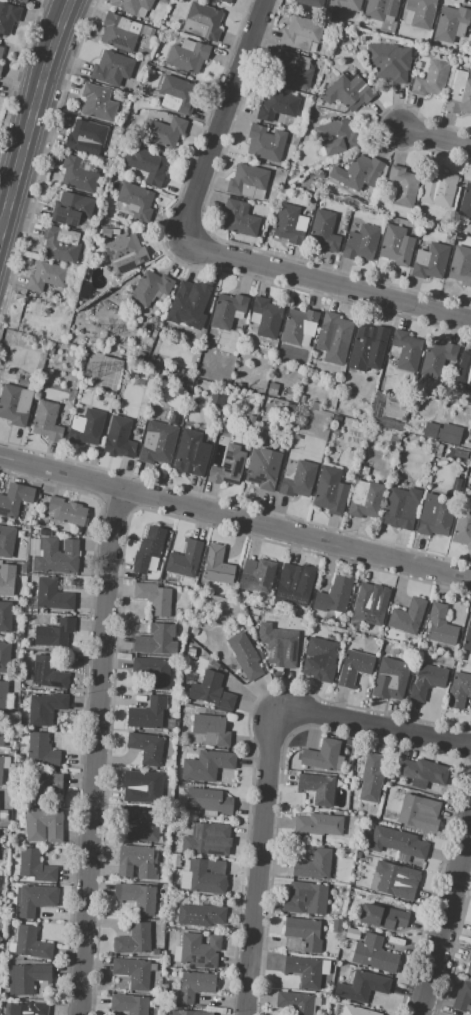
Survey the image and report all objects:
building: (25, 1)
building: (225, 1)
building: (311, 3)
building: (345, 4)
building: (131, 5)
building: (381, 8)
building: (421, 12)
building: (8, 17)
building: (202, 21)
building: (451, 23)
building: (118, 32)
building: (301, 32)
building: (1, 50)
building: (187, 56)
building: (389, 61)
building: (0, 66)
building: (112, 68)
building: (294, 70)
building: (431, 79)
building: (348, 93)
building: (459, 93)
building: (177, 94)
building: (98, 102)
building: (277, 105)
road: (32, 116)
road: (223, 117)
building: (165, 131)
building: (85, 134)
building: (336, 136)
road: (435, 137)
building: (265, 143)
building: (146, 165)
building: (358, 173)
building: (77, 175)
building: (246, 181)
building: (403, 186)
building: (438, 187)
building: (136, 200)
building: (465, 202)
building: (71, 208)
building: (240, 218)
building: (290, 225)
building: (323, 230)
building: (106, 233)
building: (361, 243)
building: (61, 245)
building: (396, 245)
building: (125, 253)
building: (429, 262)
building: (461, 265)
building: (47, 276)
road: (327, 282)
building: (151, 288)
building: (186, 305)
building: (228, 310)
building: (267, 317)
building: (299, 326)
building: (338, 332)
power tower: (99, 335)
building: (368, 350)
building: (407, 350)
building: (437, 358)
building: (465, 371)
power tower: (89, 374)
building: (240, 386)
building: (273, 389)
building: (469, 398)
building: (218, 399)
building: (303, 399)
building: (85, 400)
building: (397, 402)
building: (15, 404)
building: (315, 405)
building: (291, 407)
building: (336, 418)
building: (47, 421)
building: (86, 427)
building: (433, 431)
building: (336, 432)
building: (119, 436)
building: (454, 436)
building: (394, 439)
building: (157, 443)
building: (439, 451)
building: (191, 454)
building: (229, 467)
building: (263, 468)
building: (299, 480)
building: (330, 491)
building: (15, 499)
building: (366, 499)
building: (401, 507)
building: (67, 510)
building: (435, 516)
road: (235, 517)
building: (463, 529)
building: (45, 533)
building: (6, 540)
building: (148, 548)
building: (56, 556)
building: (184, 559)
building: (217, 566)
building: (257, 573)
building: (7, 579)
building: (294, 584)
building: (52, 595)
building: (334, 595)
building: (153, 597)
building: (367, 606)
building: (5, 616)
building: (407, 617)
building: (441, 625)
building: (54, 633)
building: (468, 637)
building: (157, 640)
building: (283, 645)
building: (244, 656)
building: (5, 657)
building: (319, 659)
building: (213, 664)
building: (354, 667)
building: (153, 670)
building: (47, 673)
building: (390, 678)
building: (427, 680)
building: (459, 690)
building: (211, 691)
building: (3, 694)
building: (45, 708)
building: (147, 713)
road: (377, 726)
building: (211, 730)
building: (2, 736)
building: (146, 747)
building: (41, 751)
road: (99, 751)
building: (322, 755)
building: (207, 765)
building: (1, 768)
building: (423, 772)
building: (371, 778)
building: (40, 785)
building: (317, 787)
building: (144, 789)
building: (209, 800)
building: (416, 809)
building: (142, 824)
building: (319, 824)
building: (44, 825)
building: (203, 837)
building: (397, 843)
building: (137, 862)
road: (259, 863)
building: (313, 864)
building: (35, 866)
building: (207, 876)
building: (394, 883)
building: (137, 897)
building: (305, 898)
building: (33, 899)
building: (201, 915)
building: (382, 916)
road: (446, 923)
building: (337, 926)
building: (305, 933)
building: (134, 939)
building: (31, 943)
building: (199, 950)
building: (373, 954)
building: (304, 970)
building: (133, 972)
building: (470, 972)
building: (27, 978)
building: (194, 986)
building: (362, 986)
building: (464, 997)
building: (295, 1002)
building: (129, 1004)
building: (29, 1009)
building: (357, 1011)
building: (192, 1012)

